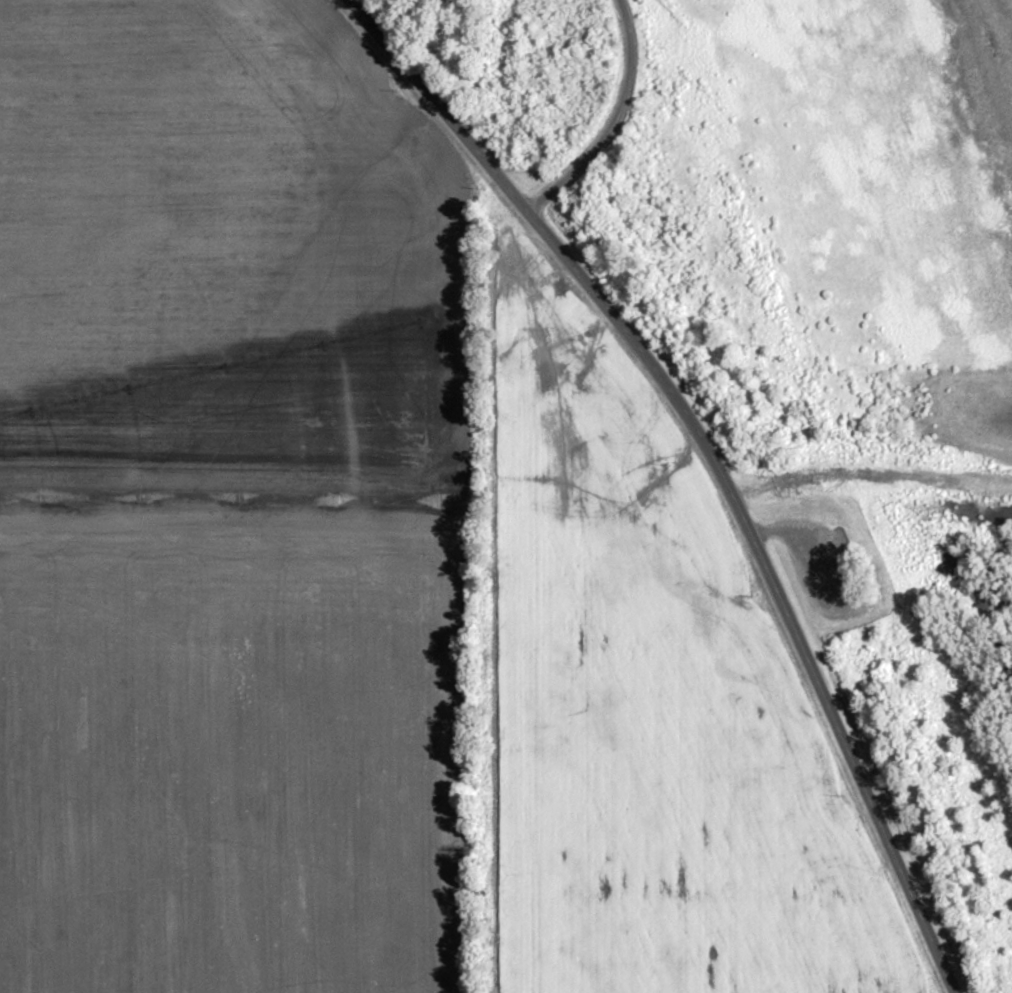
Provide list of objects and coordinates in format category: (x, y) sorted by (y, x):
road: (615, 121)
road: (714, 457)
road: (872, 473)
road: (230, 537)
road: (806, 541)

